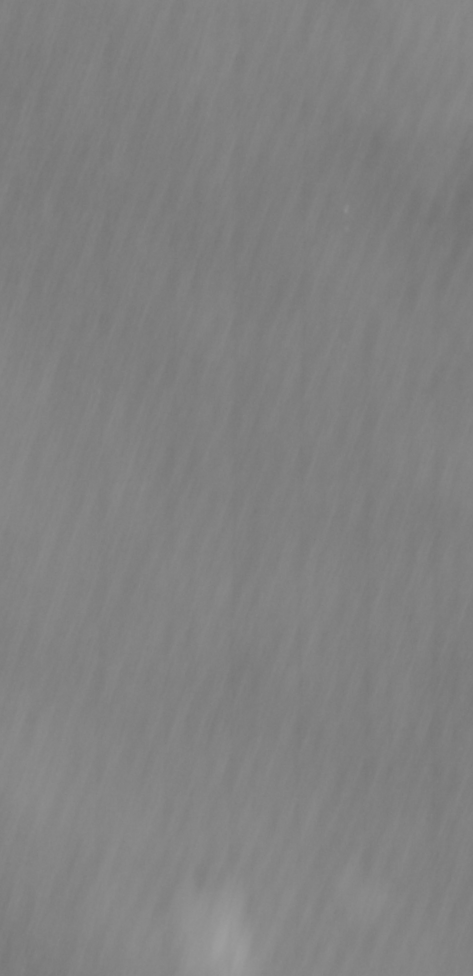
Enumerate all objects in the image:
crop: (236, 488)

